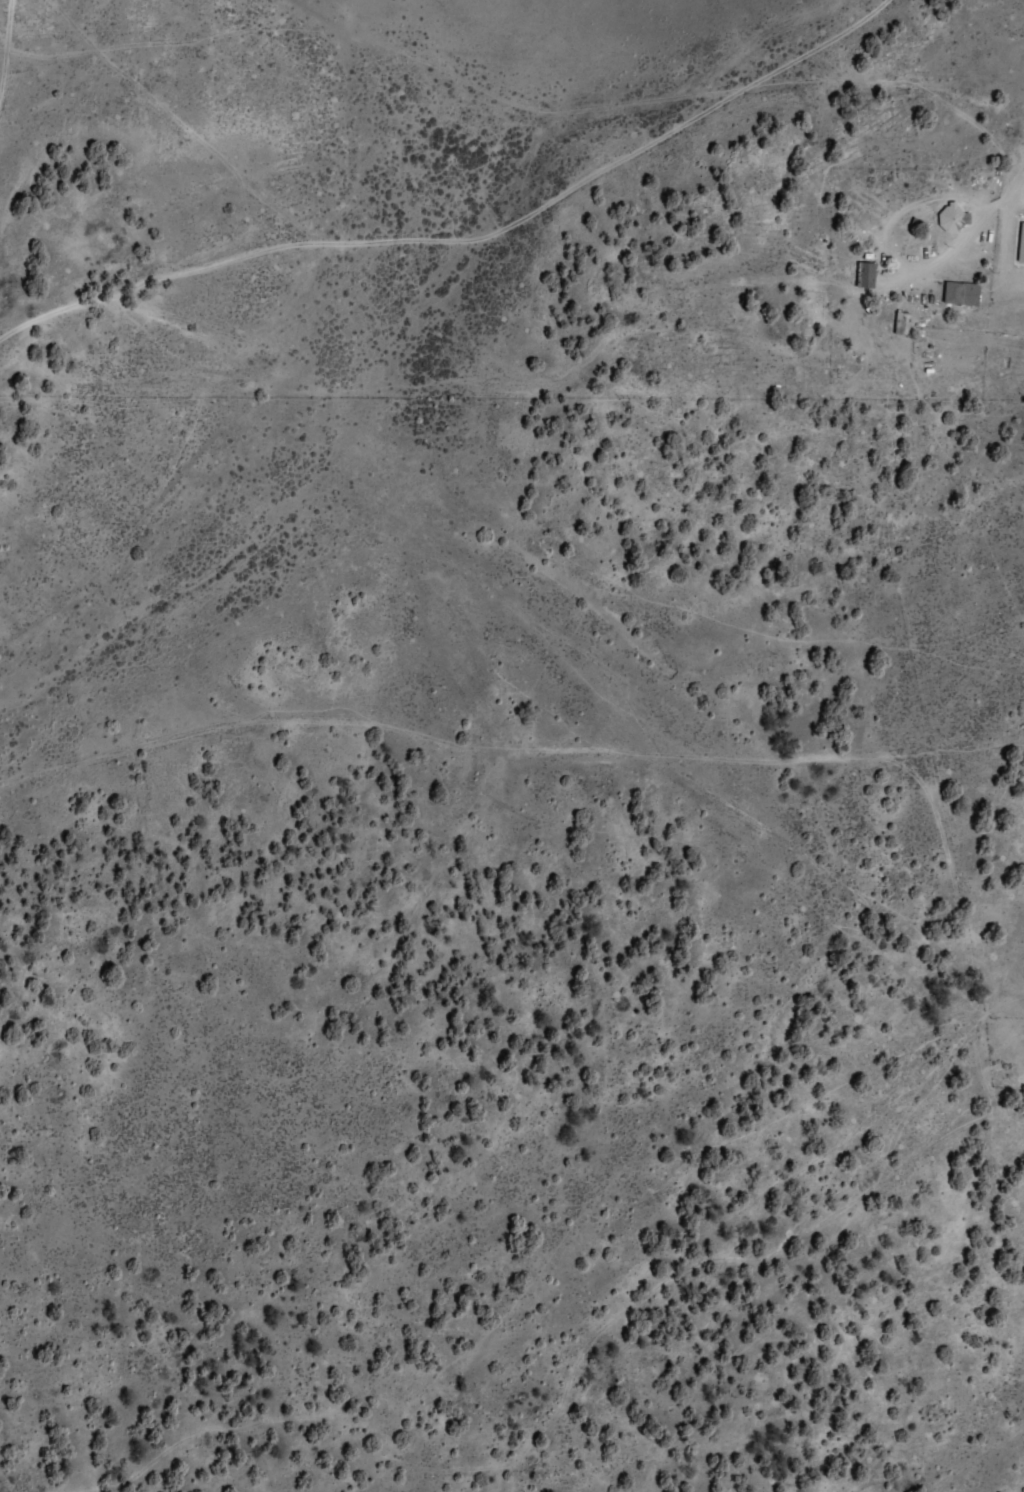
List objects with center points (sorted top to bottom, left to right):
building: (952, 218)
building: (1020, 244)
road: (1001, 247)
building: (865, 275)
building: (961, 293)
building: (903, 323)
road: (645, 786)

